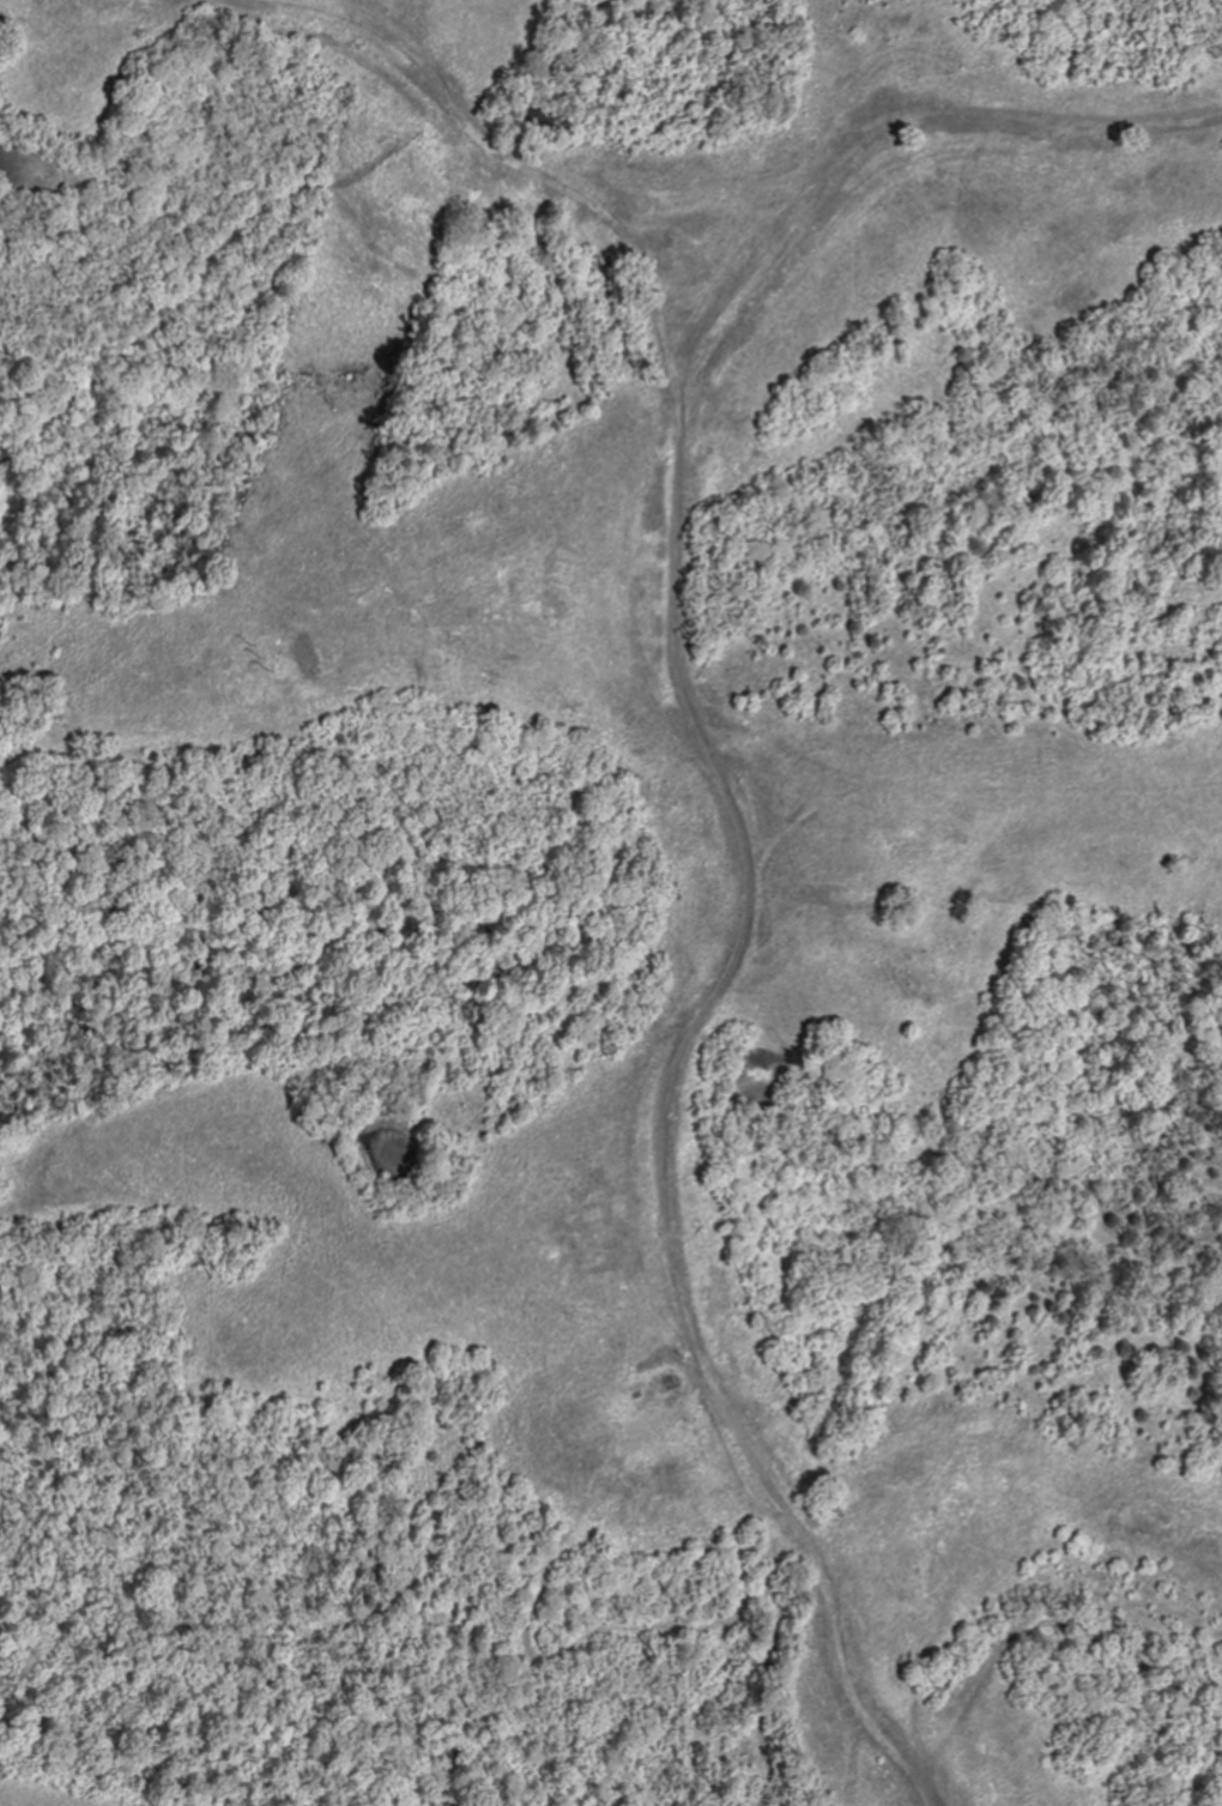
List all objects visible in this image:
road: (733, 808)

